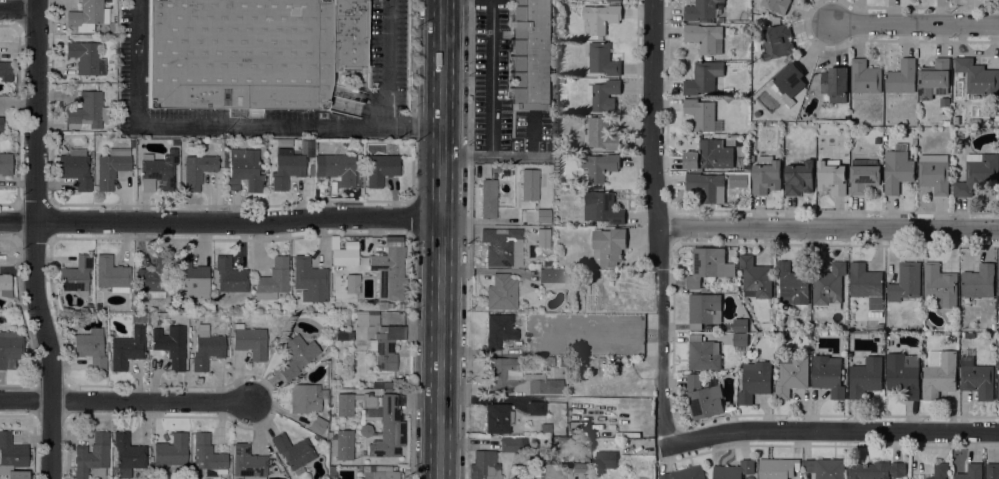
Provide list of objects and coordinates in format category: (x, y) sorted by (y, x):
building: (614, 0)
building: (777, 5)
road: (18, 7)
building: (703, 10)
building: (87, 16)
building: (601, 18)
road: (916, 24)
building: (347, 34)
building: (704, 38)
building: (776, 41)
building: (238, 54)
building: (526, 54)
building: (86, 58)
building: (602, 60)
road: (372, 63)
building: (5, 72)
road: (469, 72)
building: (865, 77)
building: (704, 78)
building: (902, 78)
building: (979, 78)
building: (934, 79)
building: (560, 80)
building: (789, 84)
building: (834, 84)
building: (603, 95)
building: (944, 102)
road: (491, 104)
building: (87, 111)
building: (702, 115)
building: (1, 124)
road: (226, 126)
building: (602, 135)
building: (305, 148)
building: (710, 156)
building: (224, 158)
building: (5, 165)
building: (599, 166)
building: (75, 168)
building: (111, 168)
building: (286, 168)
building: (339, 169)
building: (381, 169)
building: (243, 170)
building: (897, 170)
building: (197, 171)
building: (158, 172)
building: (934, 173)
building: (978, 174)
building: (765, 175)
building: (864, 175)
building: (799, 178)
building: (831, 178)
building: (528, 185)
building: (706, 186)
building: (488, 199)
building: (602, 207)
building: (541, 215)
road: (220, 221)
road: (656, 222)
road: (828, 228)
building: (542, 238)
road: (440, 239)
road: (34, 240)
building: (608, 246)
building: (501, 247)
building: (343, 252)
building: (705, 265)
building: (110, 273)
building: (389, 274)
building: (229, 275)
building: (76, 276)
building: (553, 276)
building: (755, 277)
building: (153, 278)
building: (190, 278)
building: (272, 280)
building: (309, 280)
building: (905, 282)
building: (351, 283)
building: (998, 283)
building: (792, 284)
building: (866, 284)
building: (977, 284)
building: (5, 286)
building: (828, 286)
building: (939, 286)
building: (500, 292)
building: (381, 305)
building: (392, 306)
building: (704, 309)
building: (372, 320)
building: (740, 325)
building: (766, 326)
building: (498, 330)
building: (969, 335)
building: (740, 339)
building: (249, 342)
building: (170, 346)
building: (386, 347)
building: (90, 348)
building: (10, 349)
building: (126, 349)
building: (206, 350)
building: (703, 354)
building: (295, 356)
building: (939, 373)
building: (903, 374)
building: (791, 375)
building: (828, 375)
building: (516, 377)
building: (865, 377)
building: (976, 378)
building: (998, 380)
building: (755, 381)
building: (702, 398)
road: (25, 399)
building: (305, 399)
road: (151, 402)
building: (344, 405)
building: (535, 408)
building: (497, 419)
building: (384, 424)
building: (317, 425)
building: (546, 429)
road: (832, 429)
building: (342, 445)
building: (510, 445)
building: (169, 452)
building: (293, 452)
building: (127, 454)
building: (12, 455)
building: (91, 457)
building: (207, 457)
building: (606, 459)
building: (247, 463)
building: (483, 466)
building: (579, 468)
building: (777, 468)
building: (825, 468)
building: (734, 470)
building: (875, 470)
building: (939, 471)
building: (992, 471)
building: (331, 472)
building: (970, 472)
building: (378, 473)
building: (684, 474)

